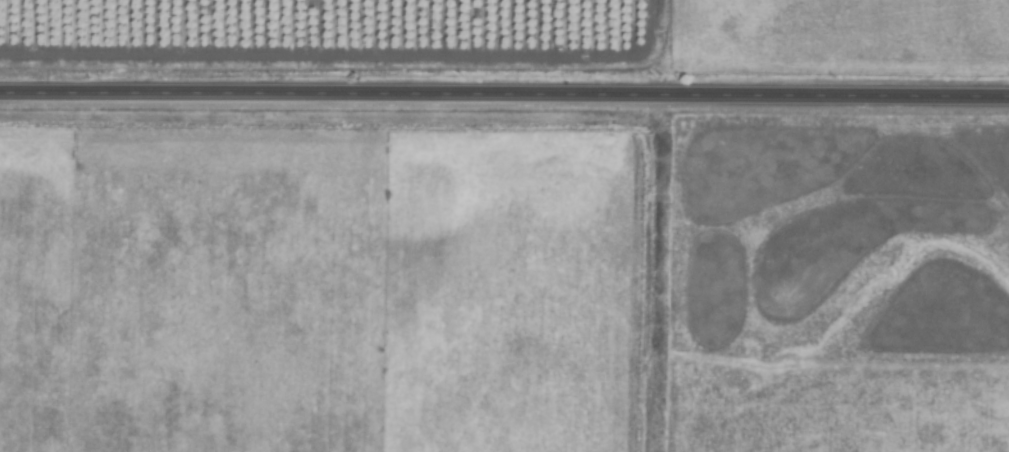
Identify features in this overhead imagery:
road: (504, 82)

